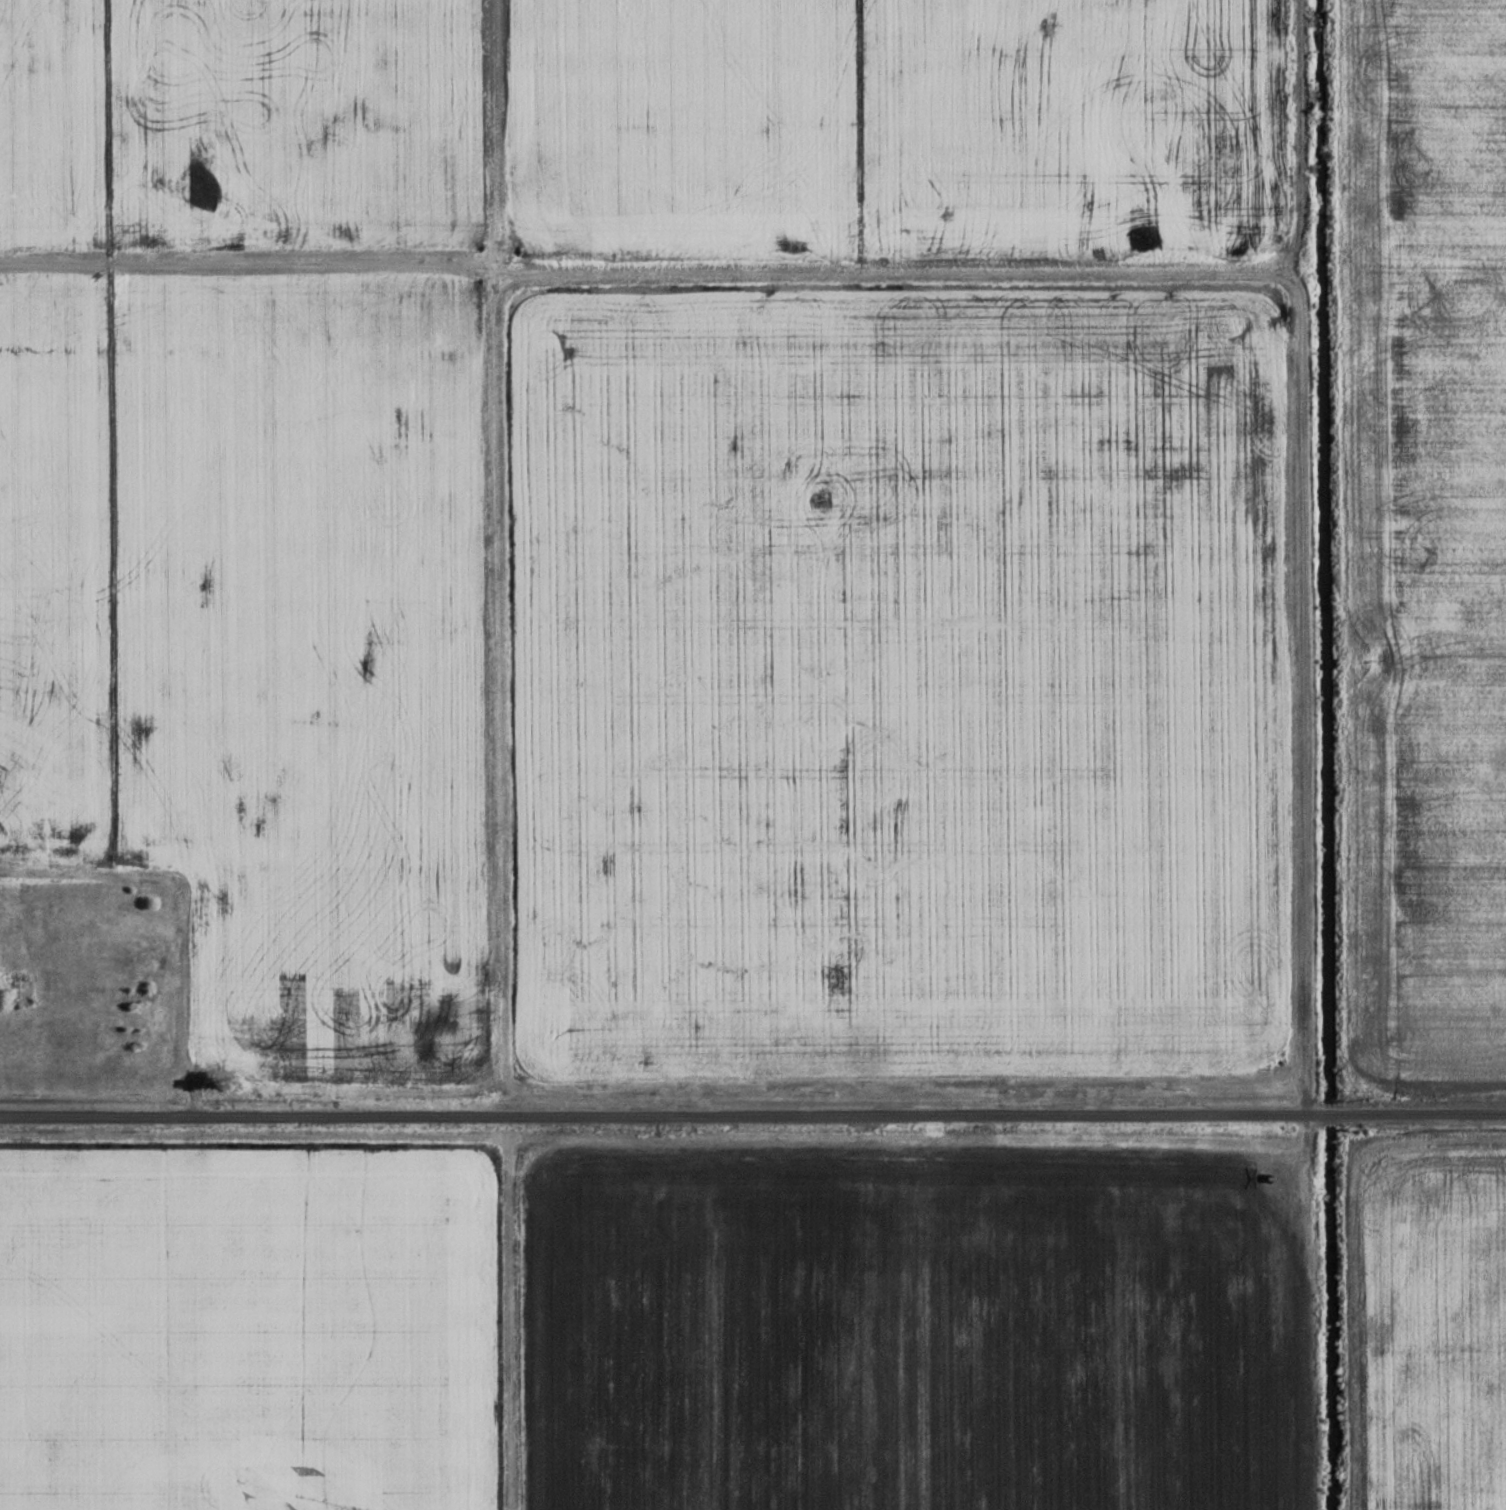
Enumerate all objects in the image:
building: (15, 997)
road: (753, 1112)

